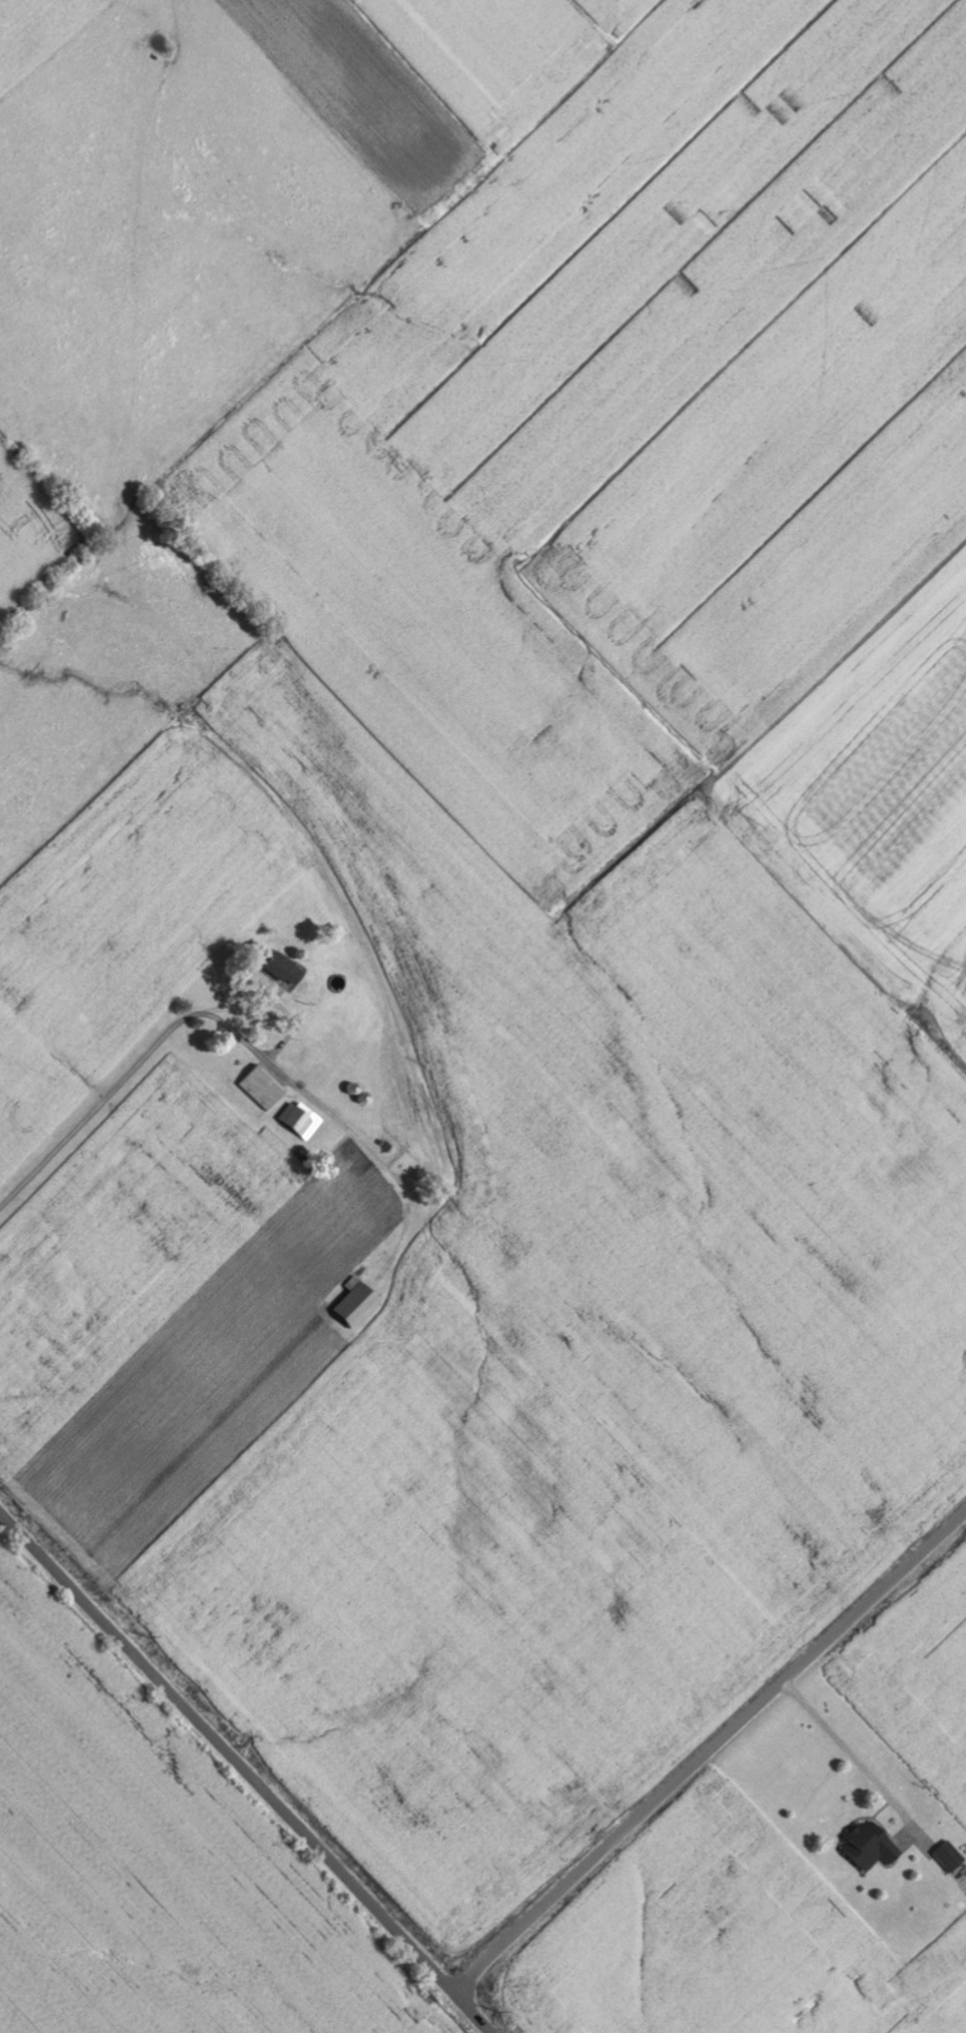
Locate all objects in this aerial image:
road: (66, 654)
building: (286, 970)
road: (294, 1035)
building: (266, 1089)
road: (100, 1109)
building: (302, 1121)
road: (818, 1247)
building: (358, 1304)
road: (709, 1750)
road: (247, 1770)
building: (873, 1848)
building: (951, 1857)

